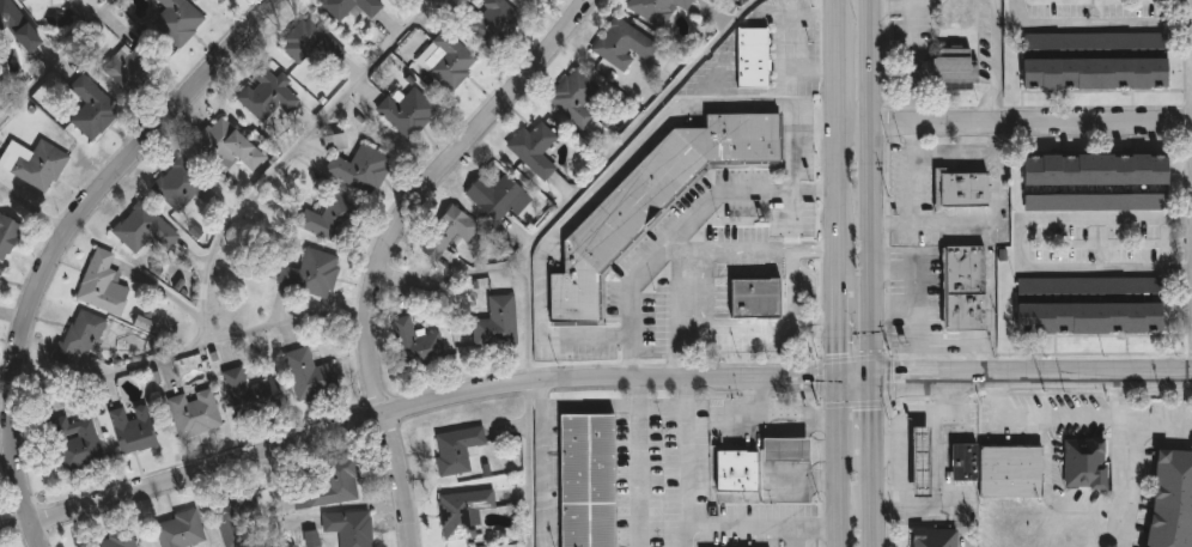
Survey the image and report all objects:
building: (50, 0)
building: (71, 0)
building: (219, 0)
building: (221, 0)
building: (539, 0)
road: (923, 1)
building: (351, 7)
building: (658, 8)
building: (177, 20)
building: (495, 23)
building: (18, 24)
road: (1096, 26)
road: (777, 43)
road: (913, 43)
building: (625, 44)
building: (311, 48)
building: (753, 56)
building: (450, 59)
building: (1096, 59)
road: (59, 62)
building: (955, 62)
road: (997, 62)
building: (130, 67)
building: (574, 96)
building: (268, 97)
building: (87, 103)
building: (407, 110)
road: (1017, 122)
building: (227, 146)
building: (535, 148)
road: (972, 154)
building: (41, 165)
building: (363, 169)
road: (598, 170)
building: (1097, 181)
building: (181, 184)
road: (425, 184)
road: (844, 188)
building: (965, 188)
road: (876, 189)
road: (914, 192)
building: (499, 196)
building: (652, 201)
road: (35, 208)
road: (232, 219)
building: (333, 219)
road: (989, 221)
road: (686, 226)
building: (142, 227)
road: (73, 229)
building: (450, 232)
building: (8, 235)
road: (1020, 244)
road: (817, 254)
road: (705, 265)
building: (1, 271)
building: (310, 274)
building: (103, 284)
building: (965, 287)
road: (792, 288)
building: (1090, 304)
building: (755, 305)
road: (896, 305)
road: (917, 305)
building: (498, 322)
road: (801, 322)
building: (145, 323)
road: (750, 323)
building: (80, 334)
road: (675, 340)
building: (416, 345)
road: (986, 358)
road: (112, 373)
building: (312, 375)
road: (1017, 377)
traffic signals: (843, 378)
traffic signals: (876, 379)
road: (637, 389)
road: (687, 391)
building: (250, 394)
road: (428, 401)
parking lot: (1082, 402)
road: (591, 405)
road: (663, 405)
parking lot: (1164, 411)
building: (195, 413)
road: (779, 418)
road: (1062, 418)
road: (876, 425)
building: (133, 429)
road: (907, 431)
parking lot: (1083, 431)
building: (75, 443)
road: (892, 444)
building: (787, 449)
building: (457, 450)
road: (543, 462)
road: (844, 462)
building: (925, 462)
gas station: (925, 462)
building: (965, 462)
building: (1088, 464)
building: (737, 470)
building: (1014, 473)
road: (639, 475)
road: (402, 479)
building: (586, 480)
building: (333, 484)
road: (1125, 485)
building: (1174, 494)
road: (279, 498)
road: (877, 510)
building: (463, 512)
building: (239, 519)
road: (706, 524)
building: (351, 528)
building: (181, 530)
road: (36, 534)
road: (795, 536)
building: (937, 539)
building: (114, 540)
building: (0, 546)

